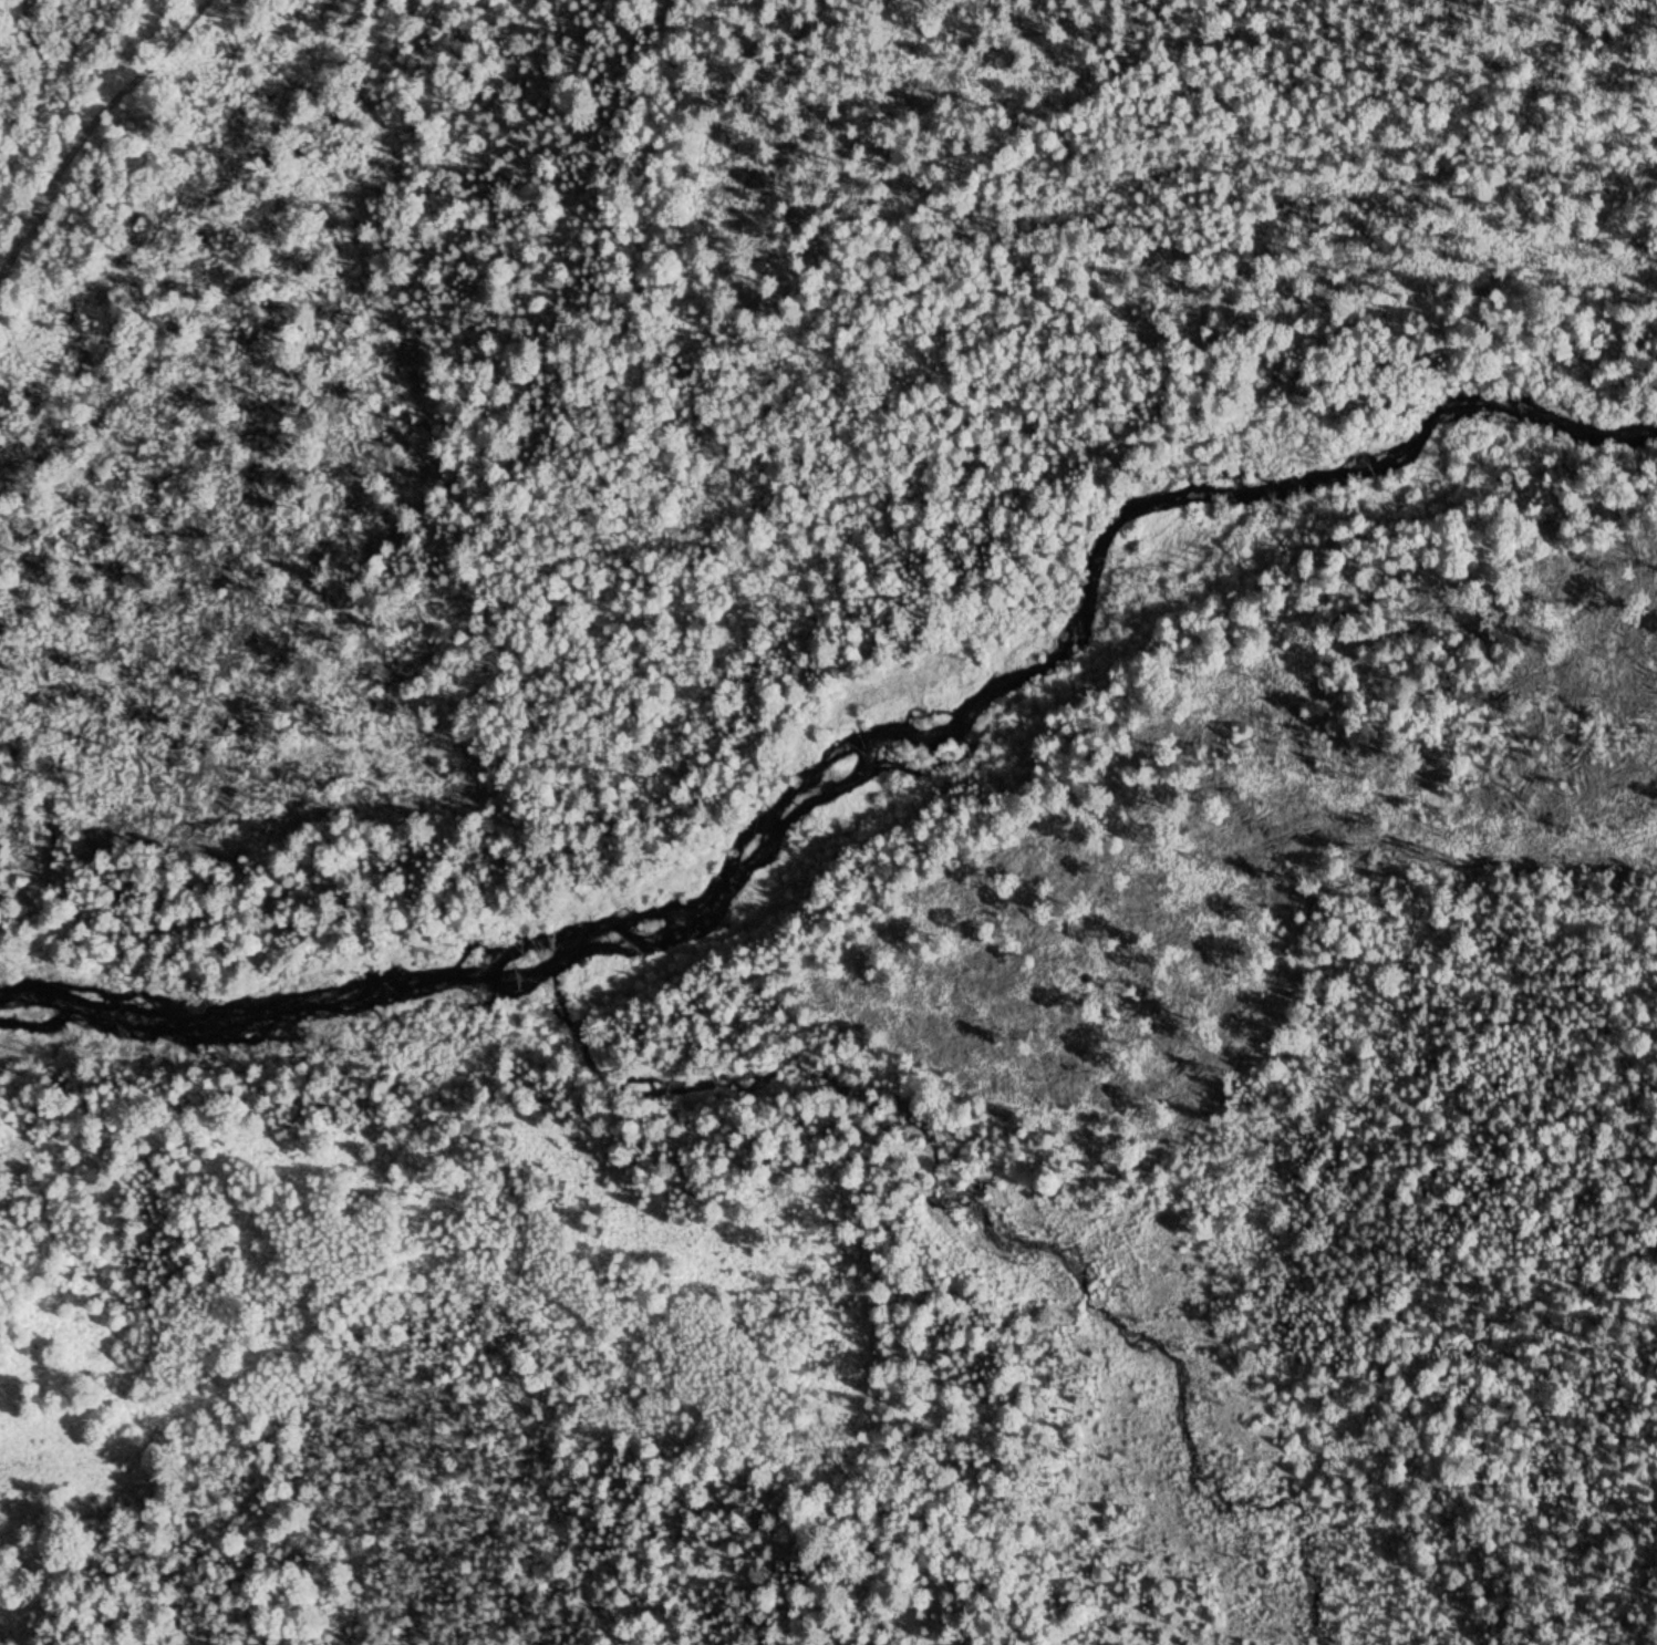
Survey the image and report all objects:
road: (104, 117)

